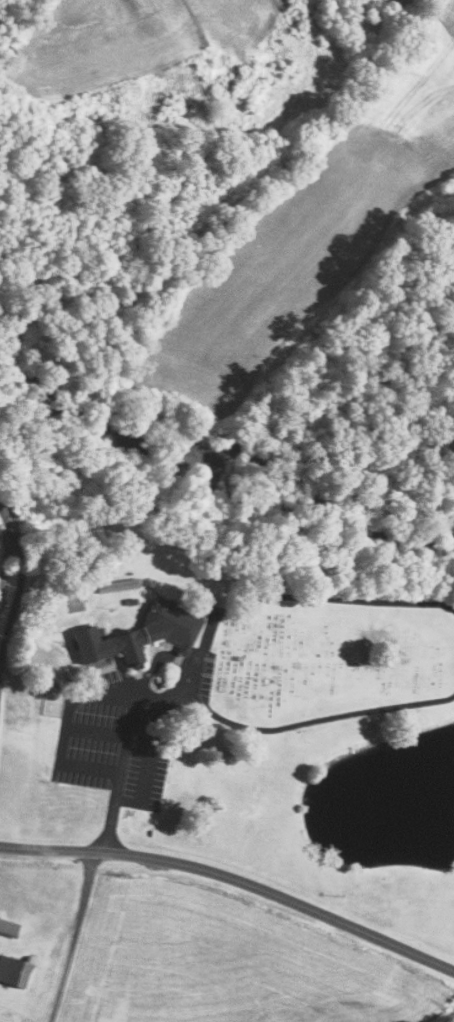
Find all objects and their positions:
crop: (130, 37)
crop: (312, 234)
building: (118, 585)
road: (303, 596)
building: (132, 601)
road: (21, 622)
building: (143, 633)
road: (168, 657)
park: (329, 659)
road: (158, 704)
road: (133, 705)
road: (317, 721)
road: (63, 730)
parking lot: (126, 731)
road: (95, 734)
road: (148, 765)
road: (119, 782)
road: (234, 878)
building: (9, 928)
road: (74, 937)
crop: (228, 966)
building: (14, 970)

